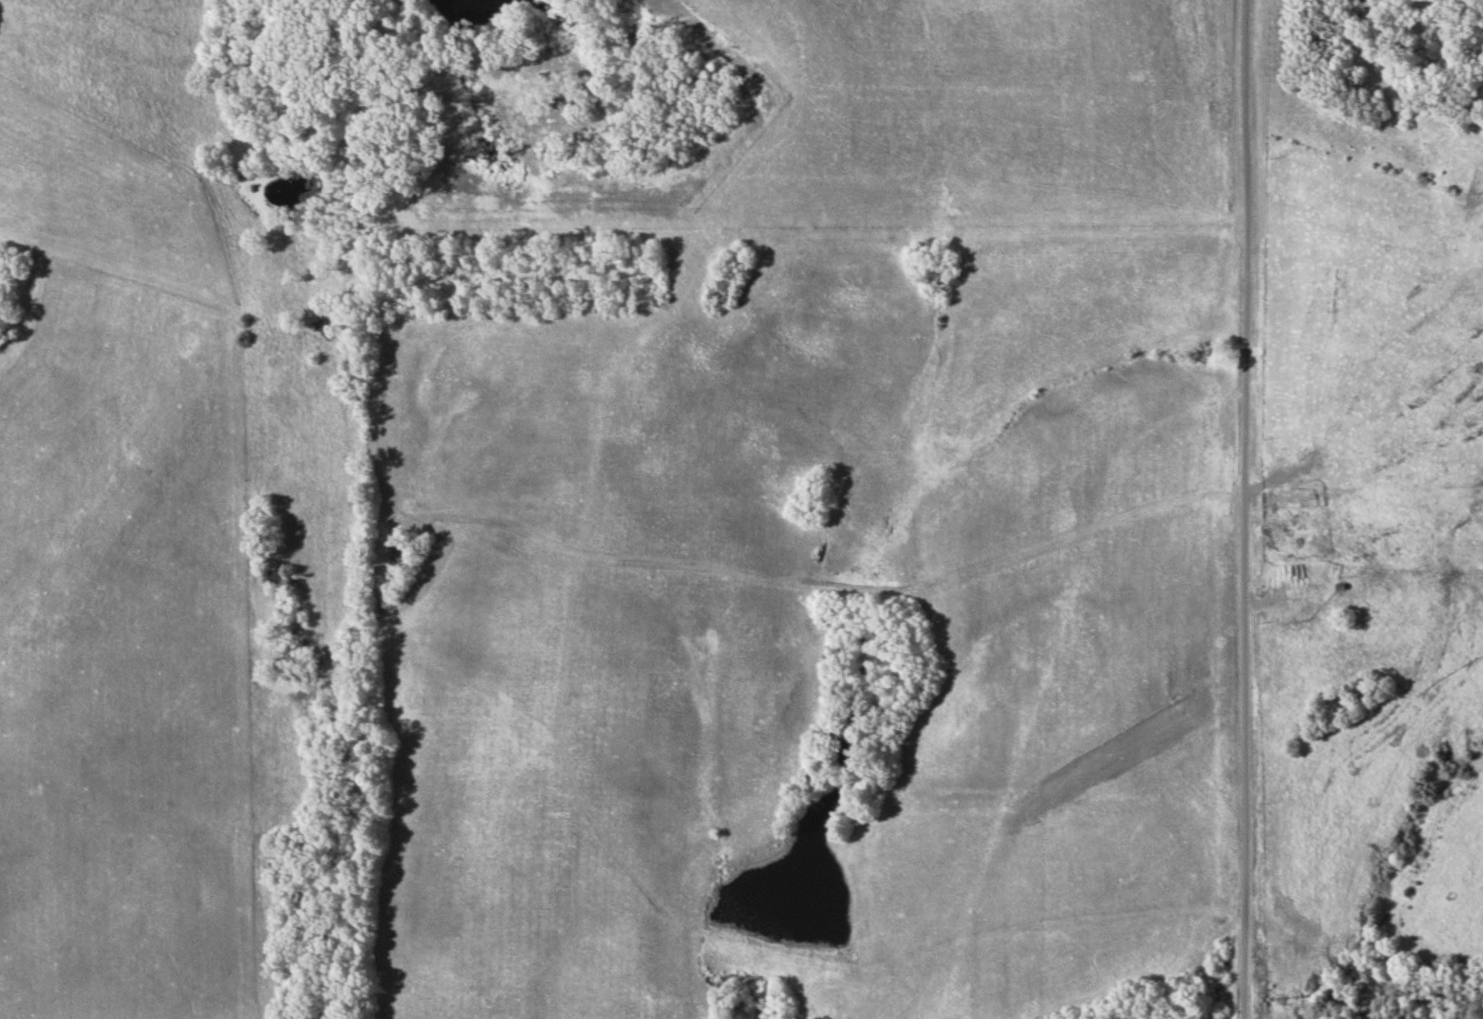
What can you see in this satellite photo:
road: (1244, 509)

